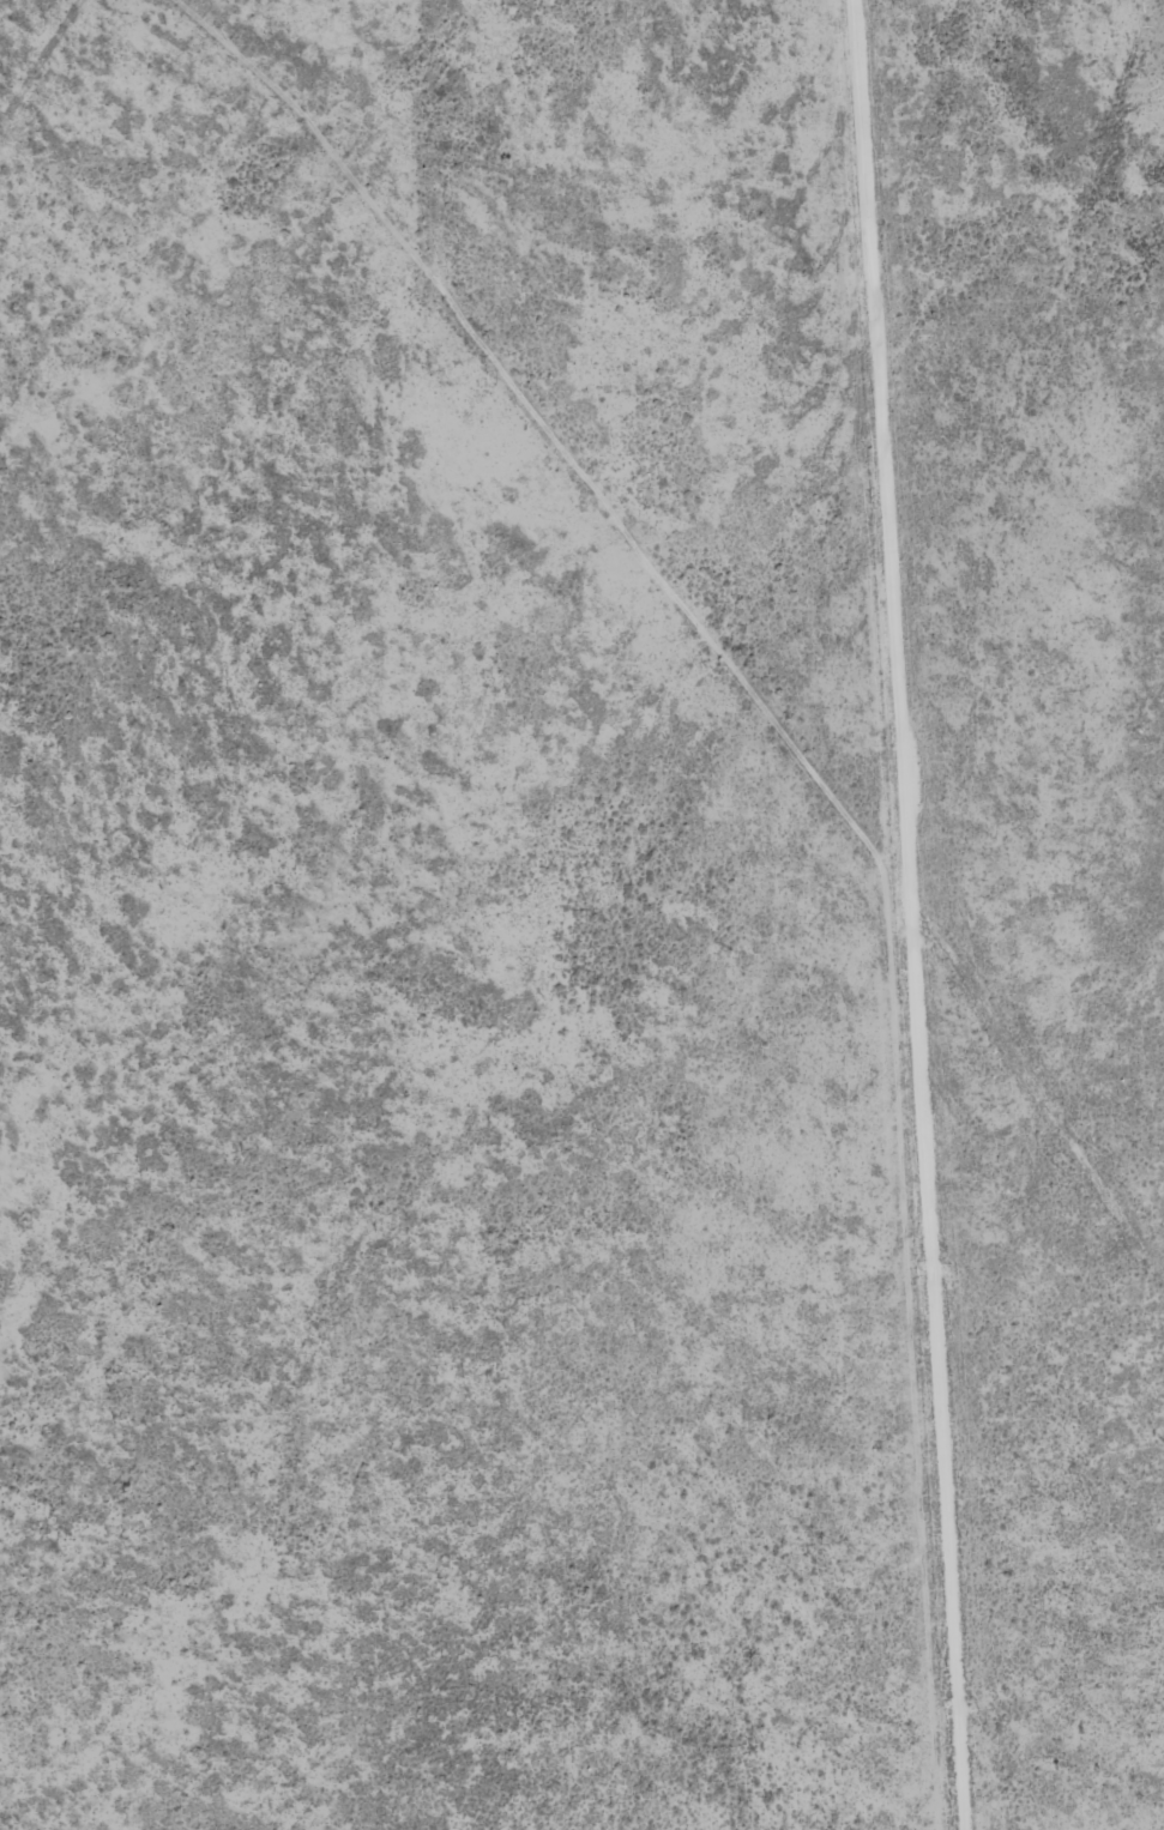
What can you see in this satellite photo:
road: (907, 914)

